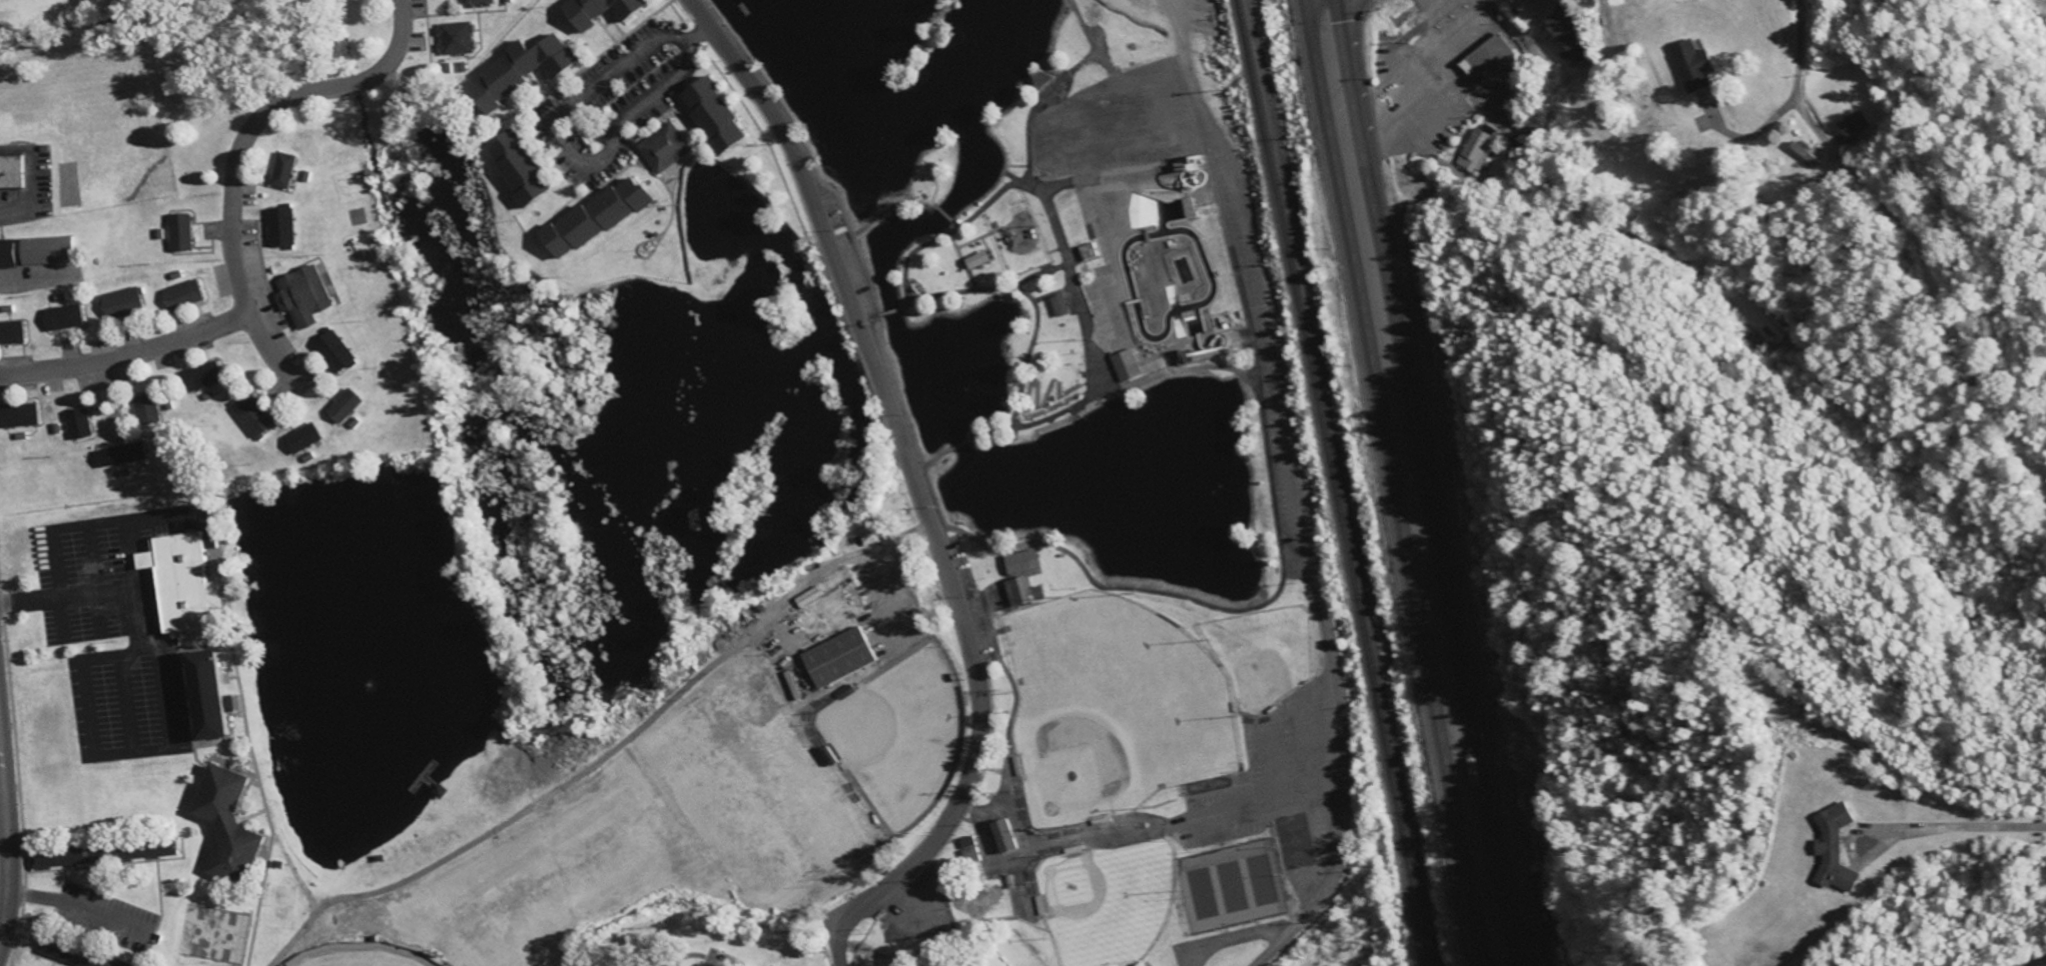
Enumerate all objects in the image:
building: (1507, 0)
building: (479, 3)
building: (607, 11)
building: (457, 38)
building: (1560, 42)
building: (1488, 61)
building: (533, 65)
building: (1690, 65)
road: (1797, 74)
building: (720, 117)
road: (259, 120)
building: (1853, 124)
road: (1410, 146)
building: (666, 148)
road: (1348, 148)
building: (1474, 150)
building: (525, 170)
building: (285, 171)
building: (13, 172)
building: (1188, 208)
building: (602, 216)
building: (283, 227)
building: (182, 233)
building: (50, 250)
building: (10, 254)
building: (980, 259)
building: (186, 295)
building: (306, 296)
building: (125, 303)
building: (1060, 305)
building: (66, 318)
road: (270, 349)
building: (337, 352)
road: (124, 356)
building: (1127, 365)
building: (200, 378)
building: (348, 406)
building: (149, 410)
building: (21, 415)
building: (257, 417)
building: (79, 424)
building: (307, 438)
building: (116, 456)
park: (1063, 457)
railway: (1331, 482)
road: (1390, 483)
road: (1425, 483)
road: (915, 486)
building: (1024, 562)
building: (186, 582)
road: (1316, 586)
building: (1024, 592)
building: (841, 658)
building: (217, 696)
building: (232, 825)
building: (998, 835)
building: (965, 849)
building: (1830, 849)
building: (61, 858)
building: (81, 955)
road: (2035, 962)
building: (670, 964)
building: (768, 965)

